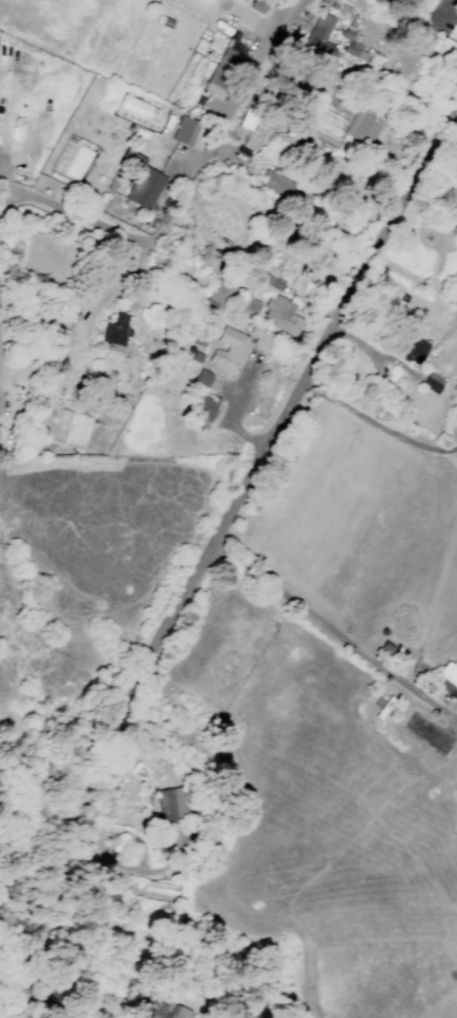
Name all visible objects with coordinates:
building: (352, 0)
building: (424, 4)
building: (258, 6)
building: (321, 39)
building: (434, 41)
building: (353, 47)
building: (214, 82)
building: (326, 123)
building: (363, 128)
building: (186, 131)
building: (275, 183)
road: (183, 185)
building: (145, 188)
road: (233, 248)
building: (220, 294)
building: (281, 315)
building: (116, 330)
building: (261, 339)
building: (414, 349)
building: (229, 351)
building: (203, 378)
building: (204, 408)
road: (230, 410)
road: (211, 557)
building: (447, 681)
road: (192, 688)
building: (169, 804)
building: (161, 1010)

